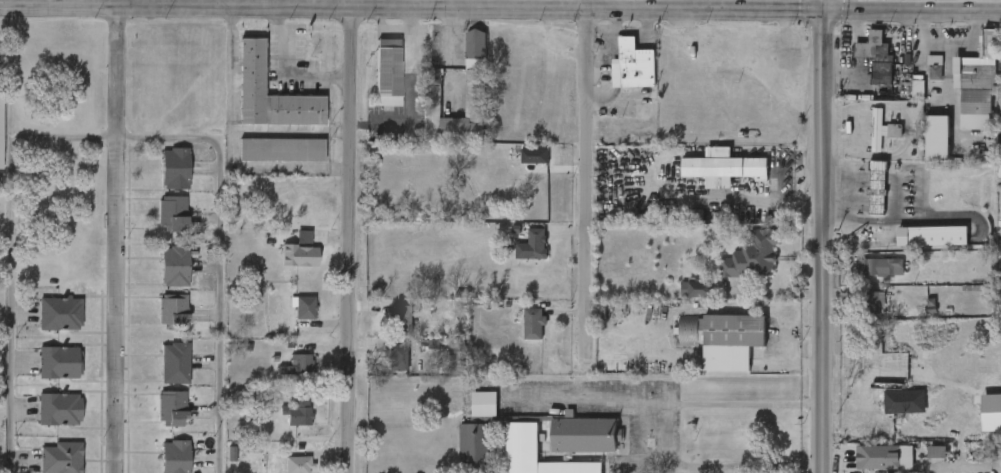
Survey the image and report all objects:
road: (288, 1)
road: (243, 3)
road: (99, 4)
road: (822, 5)
road: (498, 6)
road: (765, 10)
traffic signals: (822, 11)
road: (911, 13)
road: (617, 20)
road: (616, 32)
road: (900, 37)
road: (972, 38)
building: (989, 42)
building: (869, 43)
building: (476, 45)
road: (949, 50)
road: (845, 52)
road: (455, 57)
building: (633, 65)
building: (251, 66)
building: (999, 66)
building: (935, 68)
road: (284, 69)
road: (230, 70)
building: (882, 72)
building: (388, 73)
building: (918, 90)
building: (976, 92)
building: (475, 100)
building: (0, 130)
building: (881, 130)
road: (114, 135)
building: (937, 136)
building: (280, 149)
road: (230, 150)
building: (534, 155)
building: (999, 160)
building: (175, 167)
building: (725, 167)
road: (585, 178)
building: (0, 190)
building: (877, 192)
building: (1000, 199)
road: (762, 203)
building: (172, 214)
road: (119, 236)
road: (354, 236)
building: (932, 236)
road: (822, 242)
building: (533, 244)
building: (753, 255)
building: (303, 256)
building: (175, 265)
building: (881, 266)
building: (695, 289)
building: (873, 304)
building: (173, 312)
building: (60, 313)
building: (301, 314)
building: (400, 318)
building: (533, 323)
building: (724, 337)
building: (456, 350)
building: (397, 357)
building: (59, 361)
building: (175, 362)
building: (300, 363)
road: (592, 400)
building: (900, 401)
building: (484, 403)
building: (172, 408)
building: (59, 409)
building: (299, 409)
building: (991, 413)
building: (586, 434)
road: (662, 434)
building: (475, 444)
building: (937, 452)
building: (537, 453)
building: (175, 456)
building: (60, 457)
building: (876, 458)
building: (295, 462)

